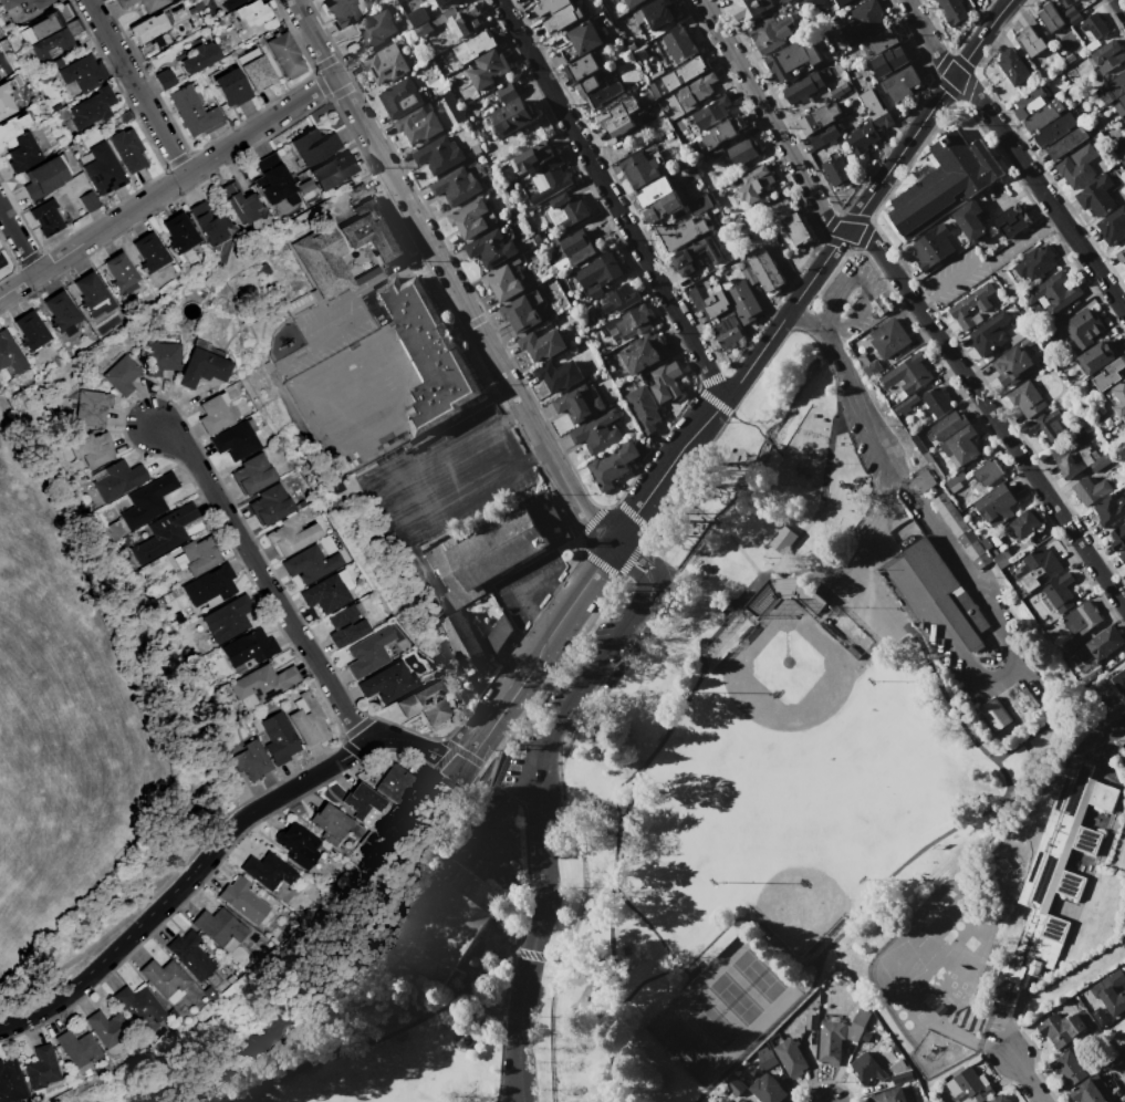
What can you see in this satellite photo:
building: (783, 0)
building: (1075, 0)
building: (440, 1)
building: (530, 1)
building: (840, 2)
building: (1065, 2)
building: (124, 3)
building: (633, 3)
building: (152, 4)
building: (230, 4)
road: (1121, 6)
building: (7, 8)
building: (749, 8)
building: (345, 11)
building: (952, 11)
building: (658, 12)
building: (1069, 12)
building: (559, 13)
building: (252, 14)
building: (1051, 17)
building: (1074, 19)
building: (66, 20)
building: (466, 20)
building: (419, 21)
building: (863, 22)
building: (45, 24)
building: (1094, 27)
building: (147, 28)
building: (373, 32)
building: (768, 33)
building: (581, 40)
building: (885, 40)
building: (1031, 41)
building: (51, 44)
building: (678, 44)
building: (473, 46)
building: (285, 54)
building: (1107, 55)
building: (200, 58)
building: (792, 59)
building: (888, 61)
building: (385, 63)
building: (1012, 66)
building: (580, 67)
building: (487, 69)
building: (83, 72)
building: (684, 72)
building: (257, 74)
building: (165, 79)
building: (900, 84)
building: (231, 86)
road: (136, 87)
building: (802, 87)
building: (697, 89)
building: (1112, 89)
building: (838, 90)
building: (595, 91)
building: (504, 92)
building: (400, 97)
building: (4, 101)
building: (871, 104)
building: (1118, 104)
building: (454, 106)
building: (88, 108)
building: (192, 110)
building: (1037, 110)
building: (711, 113)
building: (509, 116)
building: (618, 116)
building: (124, 117)
building: (817, 118)
road: (768, 119)
building: (883, 121)
building: (419, 124)
building: (12, 126)
building: (1054, 129)
building: (719, 134)
building: (823, 136)
building: (862, 137)
building: (1067, 142)
building: (313, 146)
building: (476, 148)
building: (126, 149)
building: (741, 152)
building: (22, 153)
building: (438, 155)
road: (1015, 156)
building: (1121, 156)
building: (534, 157)
building: (1077, 166)
building: (103, 170)
building: (332, 170)
building: (638, 170)
building: (836, 171)
building: (43, 178)
building: (272, 179)
building: (549, 181)
building: (754, 184)
building: (944, 184)
building: (306, 186)
building: (455, 186)
road: (167, 187)
building: (654, 191)
building: (1096, 197)
road: (611, 200)
building: (88, 201)
building: (239, 201)
building: (699, 204)
building: (663, 207)
building: (565, 209)
building: (45, 217)
building: (469, 218)
building: (1011, 219)
building: (209, 221)
building: (970, 221)
building: (1113, 226)
building: (795, 228)
building: (178, 232)
building: (372, 232)
building: (679, 232)
road: (17, 243)
building: (931, 246)
building: (491, 248)
building: (569, 250)
building: (149, 252)
building: (695, 254)
building: (1121, 256)
building: (323, 259)
building: (1, 261)
building: (1037, 263)
road: (990, 267)
building: (762, 268)
building: (118, 271)
road: (447, 273)
building: (597, 273)
building: (502, 282)
building: (1054, 291)
building: (91, 294)
building: (619, 298)
building: (708, 299)
building: (741, 299)
building: (970, 306)
building: (60, 312)
building: (520, 314)
building: (628, 323)
building: (30, 330)
building: (726, 331)
building: (1082, 331)
road: (771, 334)
building: (989, 334)
building: (888, 337)
building: (541, 344)
building: (644, 353)
building: (428, 354)
building: (10, 355)
building: (1096, 356)
building: (160, 357)
building: (201, 365)
building: (868, 365)
building: (1011, 366)
building: (908, 373)
building: (560, 374)
building: (1108, 374)
building: (121, 375)
building: (666, 382)
building: (1119, 397)
building: (1027, 401)
building: (936, 402)
building: (579, 404)
building: (904, 406)
building: (92, 407)
building: (644, 408)
building: (212, 414)
road: (990, 415)
road: (750, 420)
building: (1049, 426)
building: (947, 427)
building: (597, 432)
building: (236, 439)
road: (769, 440)
building: (959, 446)
road: (777, 448)
building: (92, 449)
building: (1080, 461)
building: (613, 465)
road: (885, 466)
building: (987, 471)
building: (251, 474)
building: (118, 479)
building: (925, 481)
road: (424, 488)
building: (1090, 488)
road: (688, 500)
building: (148, 501)
building: (269, 505)
building: (997, 505)
building: (1110, 510)
building: (949, 514)
road: (712, 519)
building: (1023, 523)
building: (165, 533)
building: (290, 536)
building: (781, 538)
building: (967, 538)
building: (1118, 538)
road: (738, 548)
building: (975, 550)
building: (198, 555)
building: (481, 557)
building: (1122, 557)
building: (982, 559)
road: (649, 560)
building: (310, 564)
road: (631, 566)
building: (1038, 568)
road: (265, 580)
building: (780, 583)
building: (210, 585)
road: (524, 591)
building: (946, 592)
building: (1060, 592)
building: (326, 594)
parking lot: (869, 602)
building: (228, 618)
building: (1080, 624)
road: (998, 625)
building: (346, 626)
building: (497, 634)
building: (465, 643)
building: (1100, 645)
building: (249, 648)
building: (368, 652)
building: (1118, 682)
building: (265, 683)
building: (388, 684)
road: (690, 688)
building: (426, 704)
park: (793, 706)
building: (993, 713)
road: (1051, 719)
building: (308, 720)
road: (493, 722)
parking lot: (560, 725)
road: (1110, 732)
building: (279, 738)
building: (250, 760)
road: (1024, 767)
park: (705, 774)
building: (396, 784)
road: (613, 792)
road: (506, 798)
building: (364, 804)
building: (329, 823)
road: (541, 833)
park: (794, 842)
building: (301, 848)
road: (212, 853)
road: (903, 861)
building: (267, 871)
building: (1053, 877)
building: (247, 903)
building: (442, 921)
building: (218, 928)
road: (532, 952)
road: (513, 953)
building: (190, 955)
road: (321, 958)
building: (167, 979)
building: (1115, 992)
road: (625, 995)
road: (489, 997)
road: (406, 1006)
building: (140, 1009)
park: (721, 1009)
road: (874, 1012)
road: (1012, 1019)
building: (860, 1020)
building: (811, 1021)
building: (1064, 1027)
building: (107, 1031)
building: (462, 1038)
building: (830, 1042)
building: (77, 1048)
road: (322, 1051)
building: (765, 1058)
building: (790, 1058)
building: (41, 1069)
building: (867, 1069)
building: (1069, 1069)
road: (1022, 1071)
building: (900, 1077)
building: (11, 1082)
park: (319, 1083)
building: (735, 1087)
building: (969, 1087)
building: (769, 1090)
building: (1092, 1091)
building: (892, 1095)
building: (999, 1099)
building: (746, 1101)

